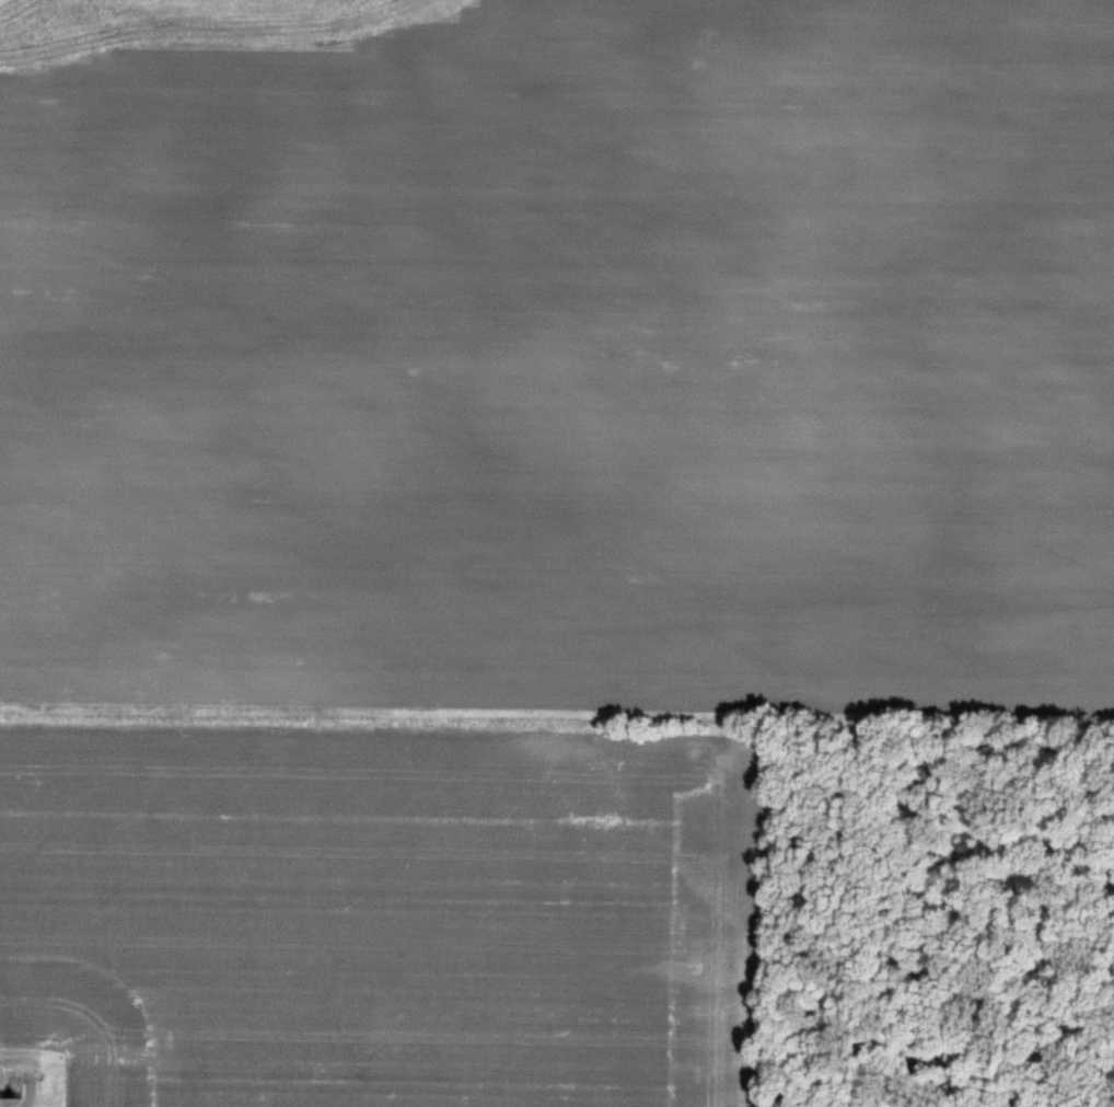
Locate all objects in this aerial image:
building: (0, 1076)

